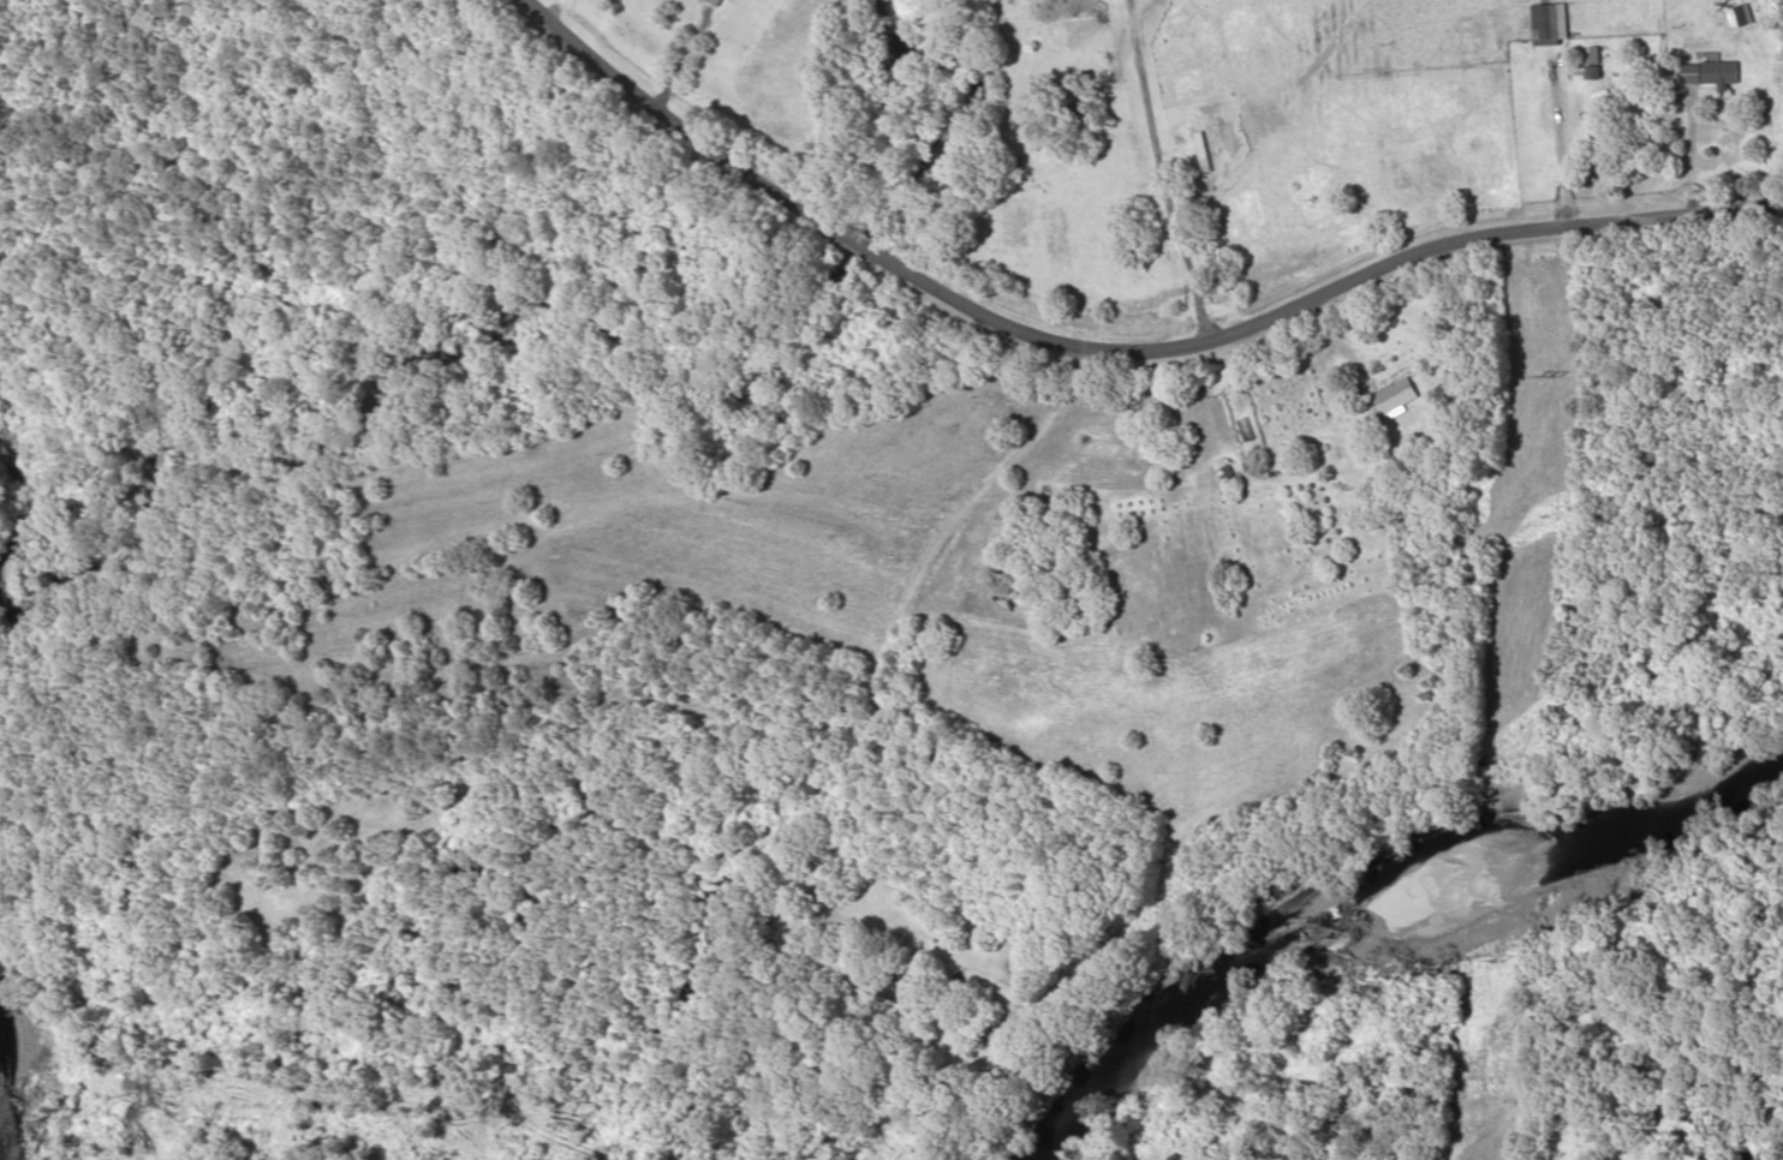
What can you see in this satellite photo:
building: (717, 2)
building: (1551, 24)
building: (1711, 74)
building: (1205, 153)
road: (1135, 305)
building: (1397, 399)
building: (1250, 433)
road: (881, 719)
building: (900, 993)

